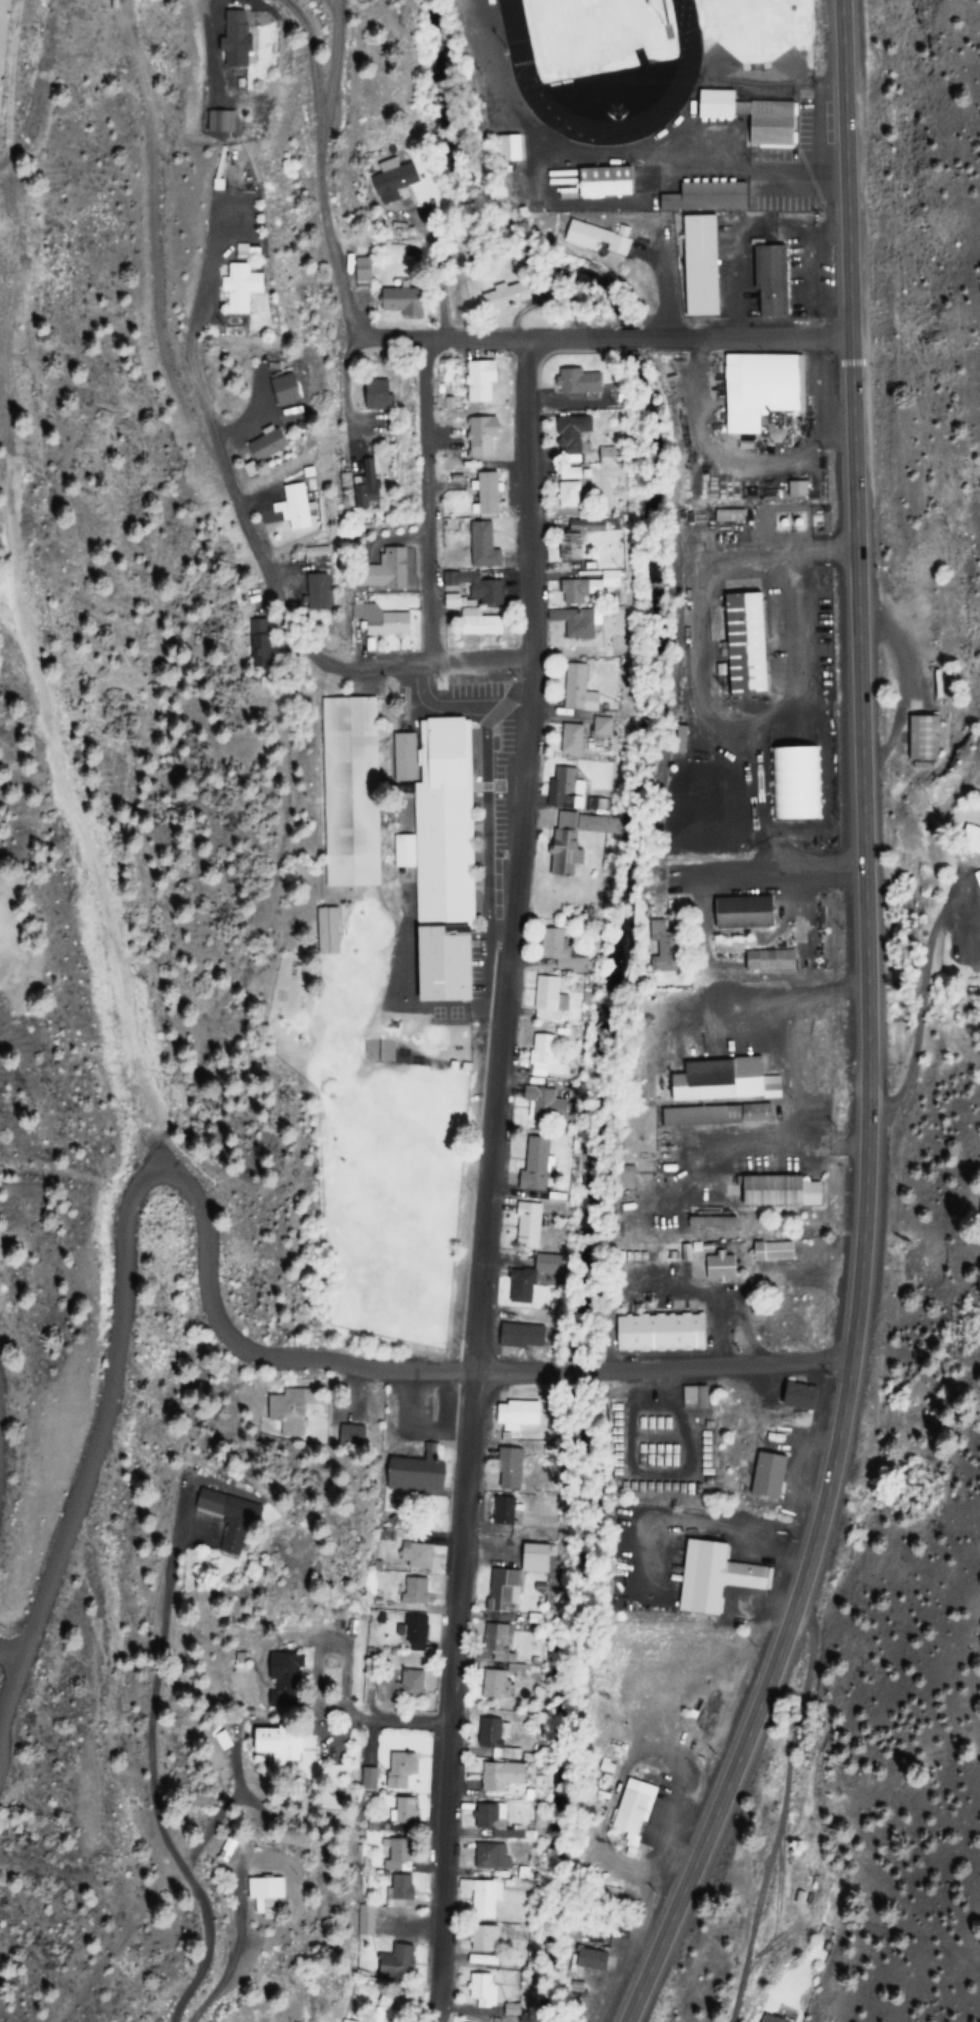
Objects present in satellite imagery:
park: (592, 30)
building: (231, 40)
track: (600, 59)
road: (334, 61)
building: (754, 108)
building: (511, 138)
road: (322, 160)
building: (605, 172)
building: (393, 182)
building: (706, 187)
building: (595, 238)
building: (241, 252)
building: (237, 289)
building: (768, 291)
building: (502, 296)
building: (398, 301)
road: (747, 328)
road: (485, 329)
road: (629, 329)
building: (479, 381)
building: (574, 382)
road: (349, 393)
building: (373, 395)
building: (280, 397)
building: (737, 410)
building: (480, 437)
building: (570, 438)
building: (265, 445)
building: (602, 455)
building: (367, 483)
building: (566, 489)
road: (431, 495)
building: (485, 495)
building: (295, 506)
building: (583, 525)
building: (481, 547)
building: (567, 547)
building: (383, 571)
building: (583, 586)
building: (476, 587)
building: (312, 592)
road: (278, 598)
building: (449, 601)
building: (377, 622)
building: (478, 623)
building: (572, 623)
building: (743, 645)
building: (574, 689)
building: (349, 739)
building: (567, 739)
building: (917, 748)
building: (401, 755)
building: (562, 789)
building: (966, 840)
building: (571, 846)
building: (441, 861)
building: (741, 912)
building: (325, 931)
building: (548, 944)
building: (662, 946)
building: (768, 961)
building: (543, 998)
road: (871, 1030)
building: (544, 1056)
building: (721, 1081)
building: (540, 1103)
building: (714, 1115)
building: (530, 1165)
road: (490, 1175)
building: (622, 1178)
building: (778, 1191)
road: (135, 1203)
building: (523, 1226)
building: (772, 1251)
building: (719, 1266)
building: (518, 1285)
building: (658, 1333)
building: (517, 1336)
road: (663, 1372)
building: (794, 1395)
building: (288, 1405)
building: (513, 1412)
building: (505, 1467)
building: (412, 1473)
building: (763, 1474)
building: (497, 1509)
building: (226, 1519)
building: (415, 1555)
building: (735, 1575)
building: (511, 1578)
building: (413, 1591)
building: (407, 1631)
building: (496, 1641)
road: (9, 1656)
building: (291, 1666)
building: (492, 1684)
road: (9, 1686)
building: (400, 1687)
road: (415, 1719)
building: (490, 1734)
building: (267, 1741)
building: (398, 1769)
building: (497, 1775)
road: (160, 1796)
building: (627, 1803)
building: (403, 1810)
building: (487, 1817)
building: (395, 1854)
building: (486, 1855)
building: (395, 1889)
building: (262, 1895)
building: (478, 1896)
building: (586, 1959)
building: (392, 1961)
building: (489, 1968)
building: (382, 2015)
building: (346, 2021)

